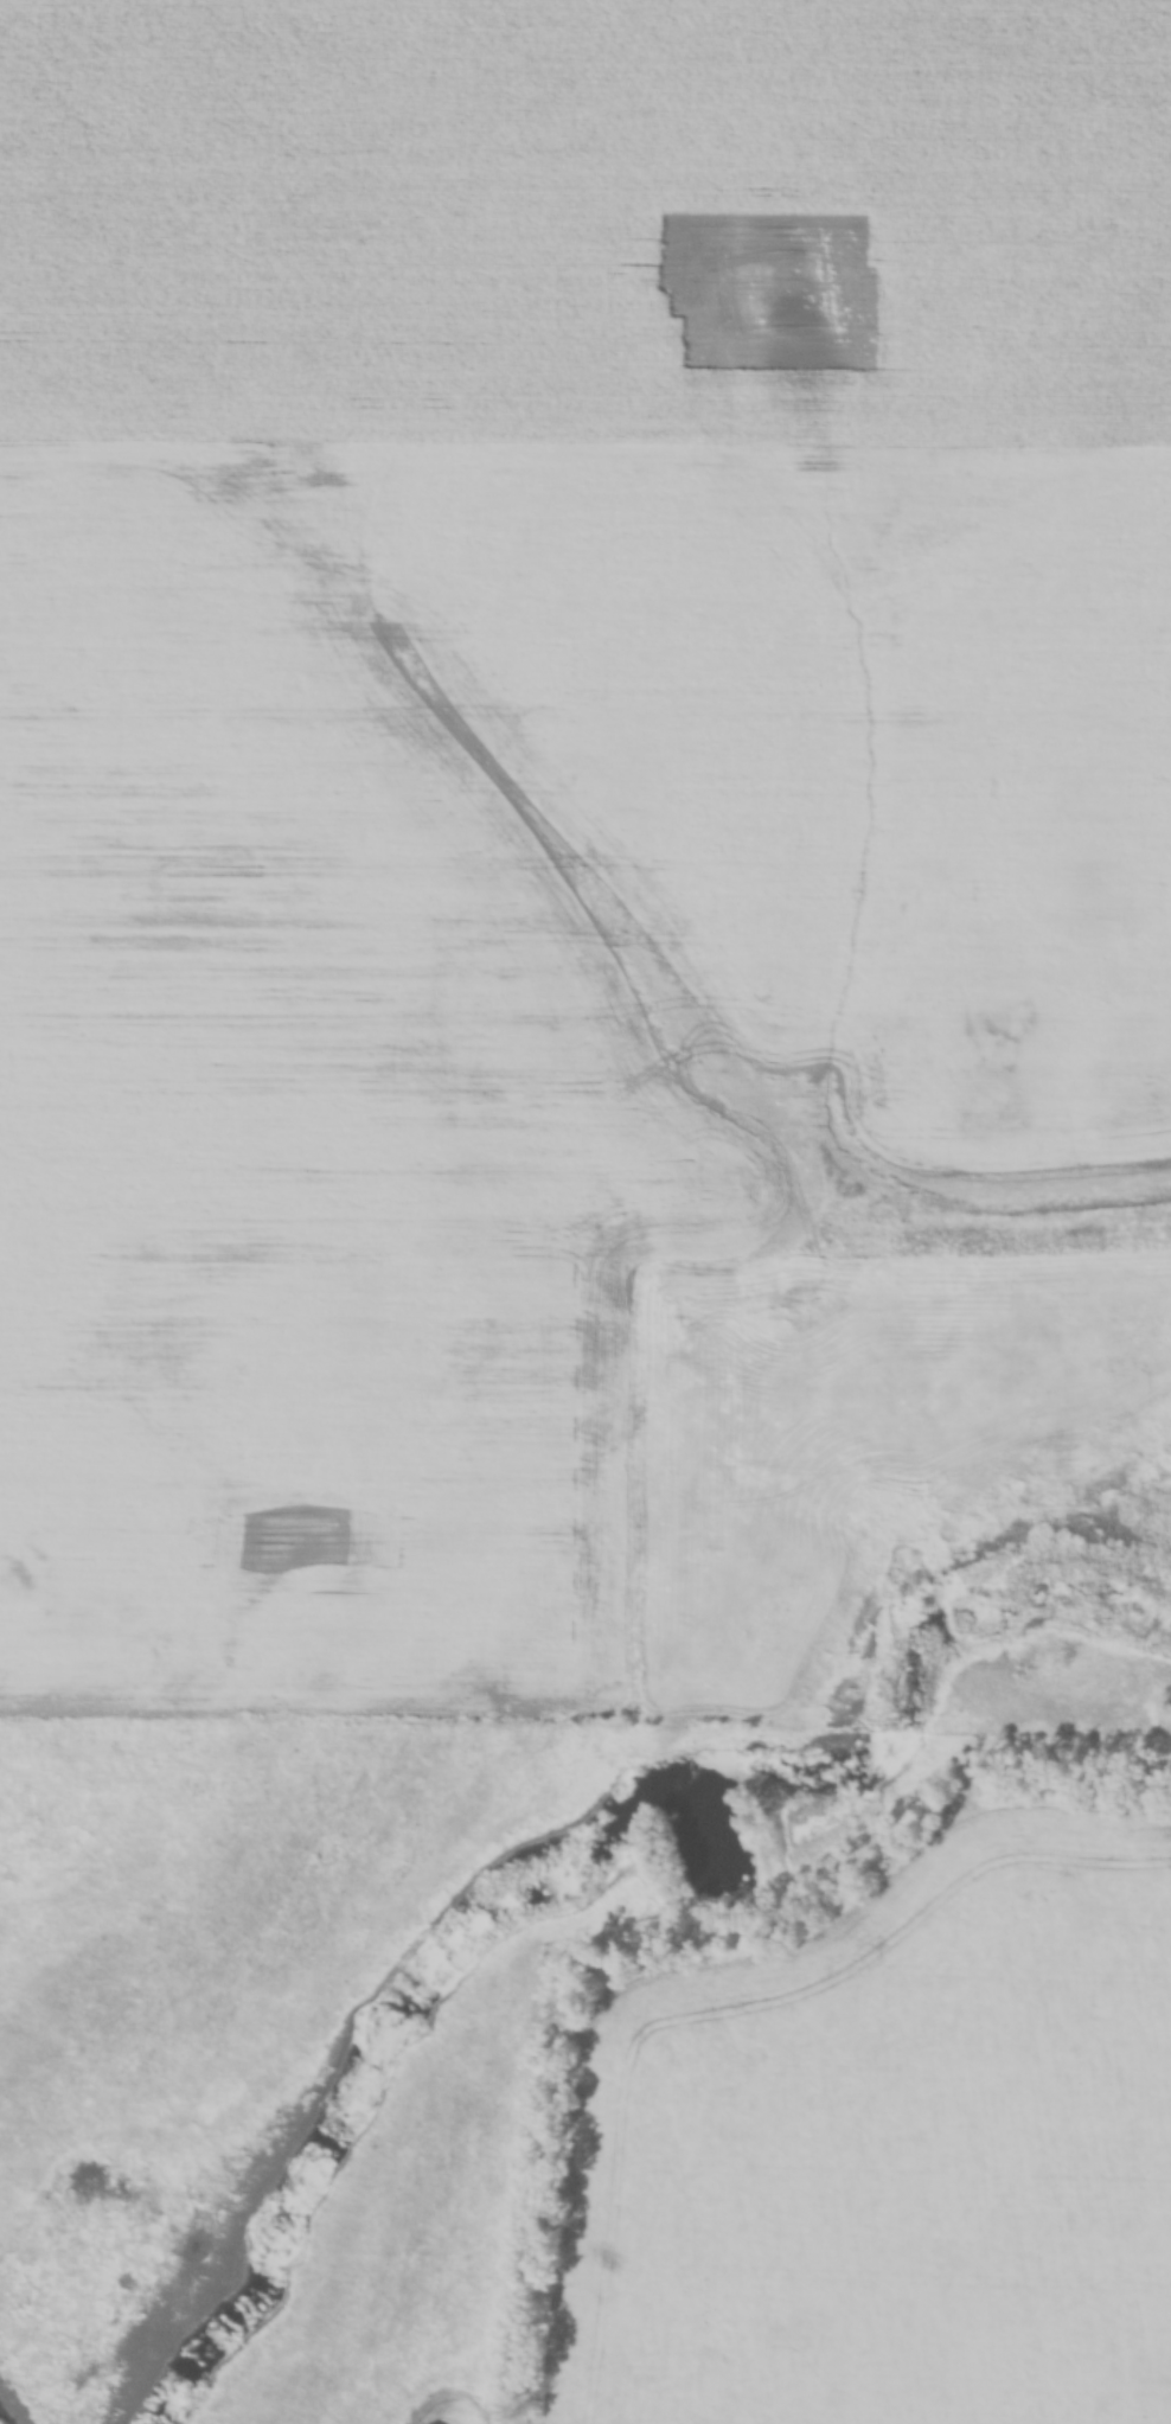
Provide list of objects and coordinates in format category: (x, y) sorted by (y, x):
crop: (507, 1000)

